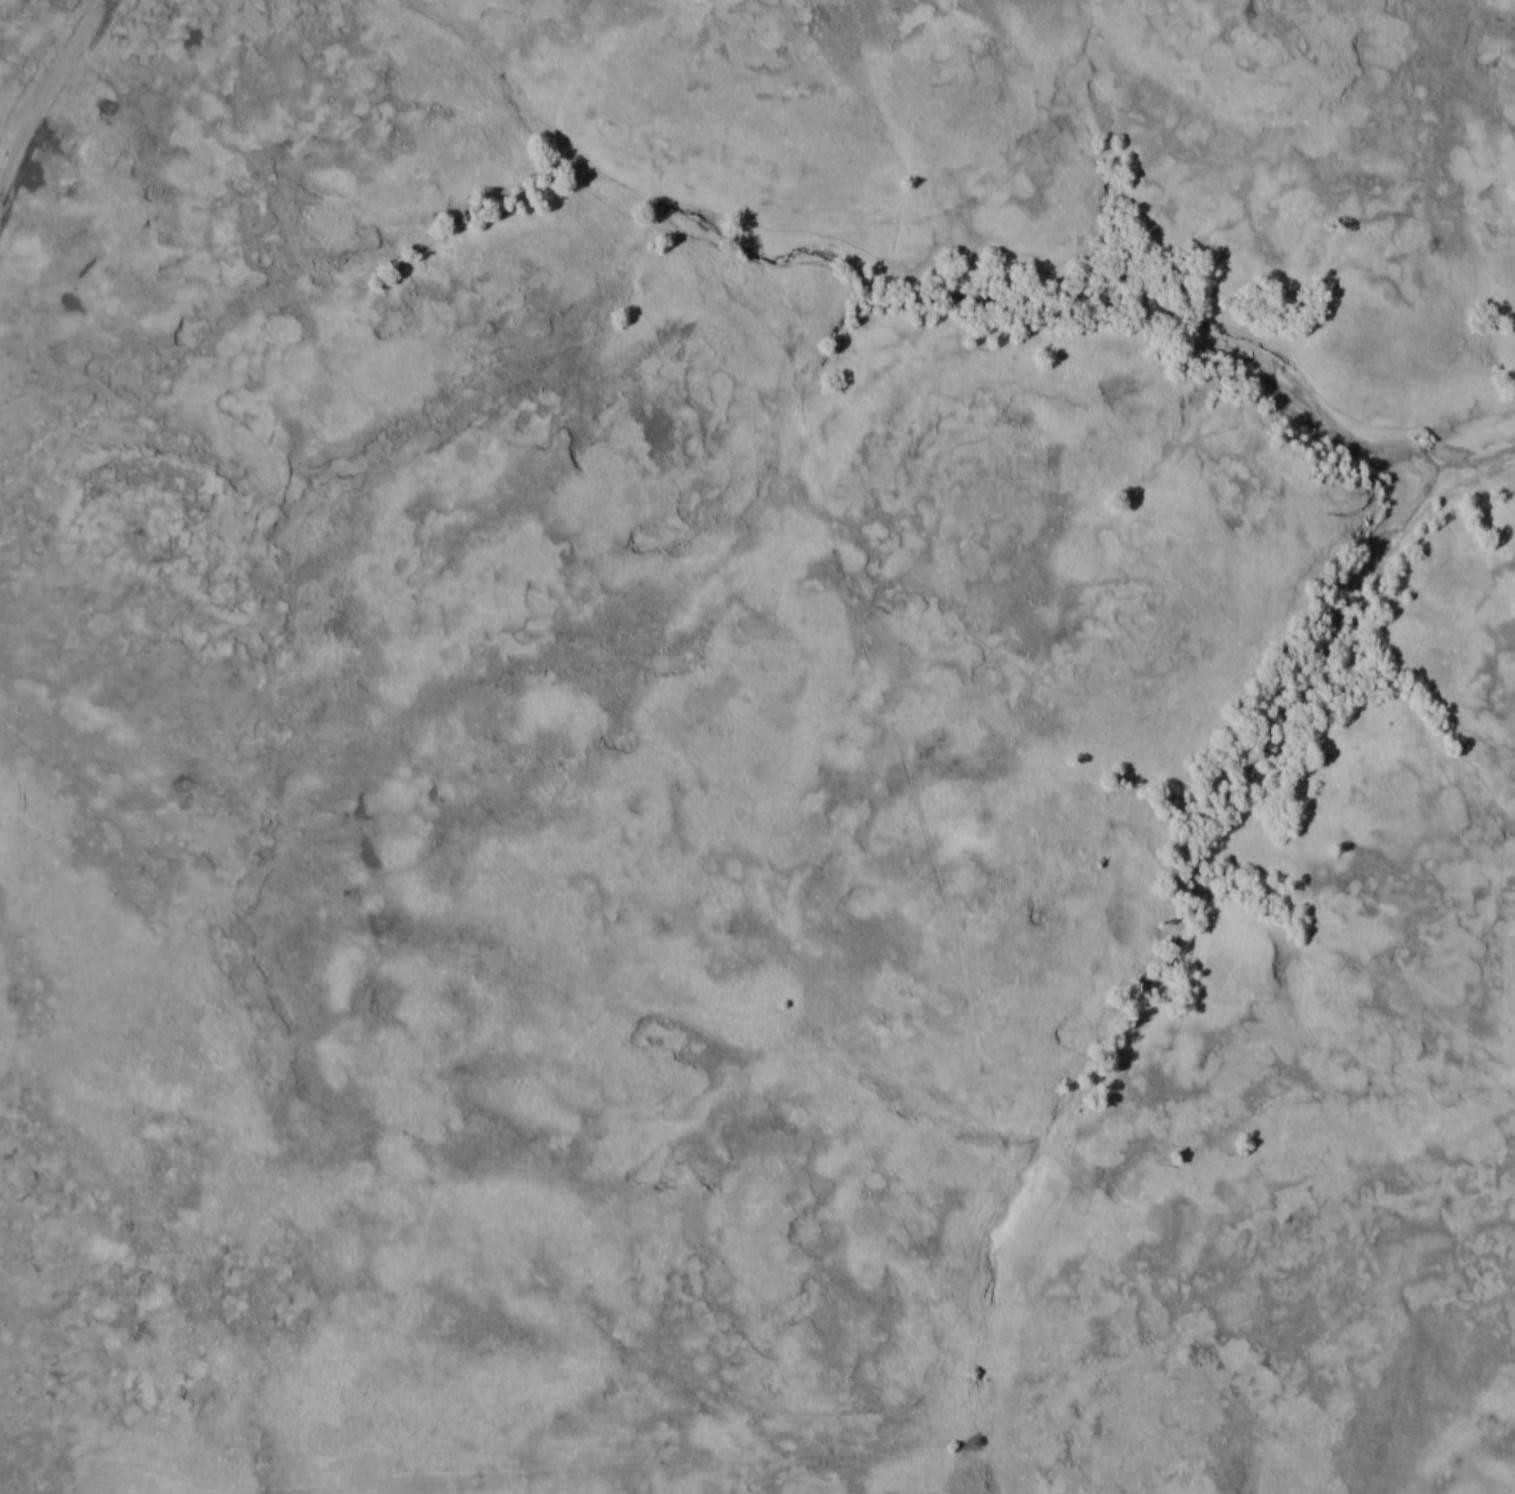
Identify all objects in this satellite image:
road: (46, 96)

